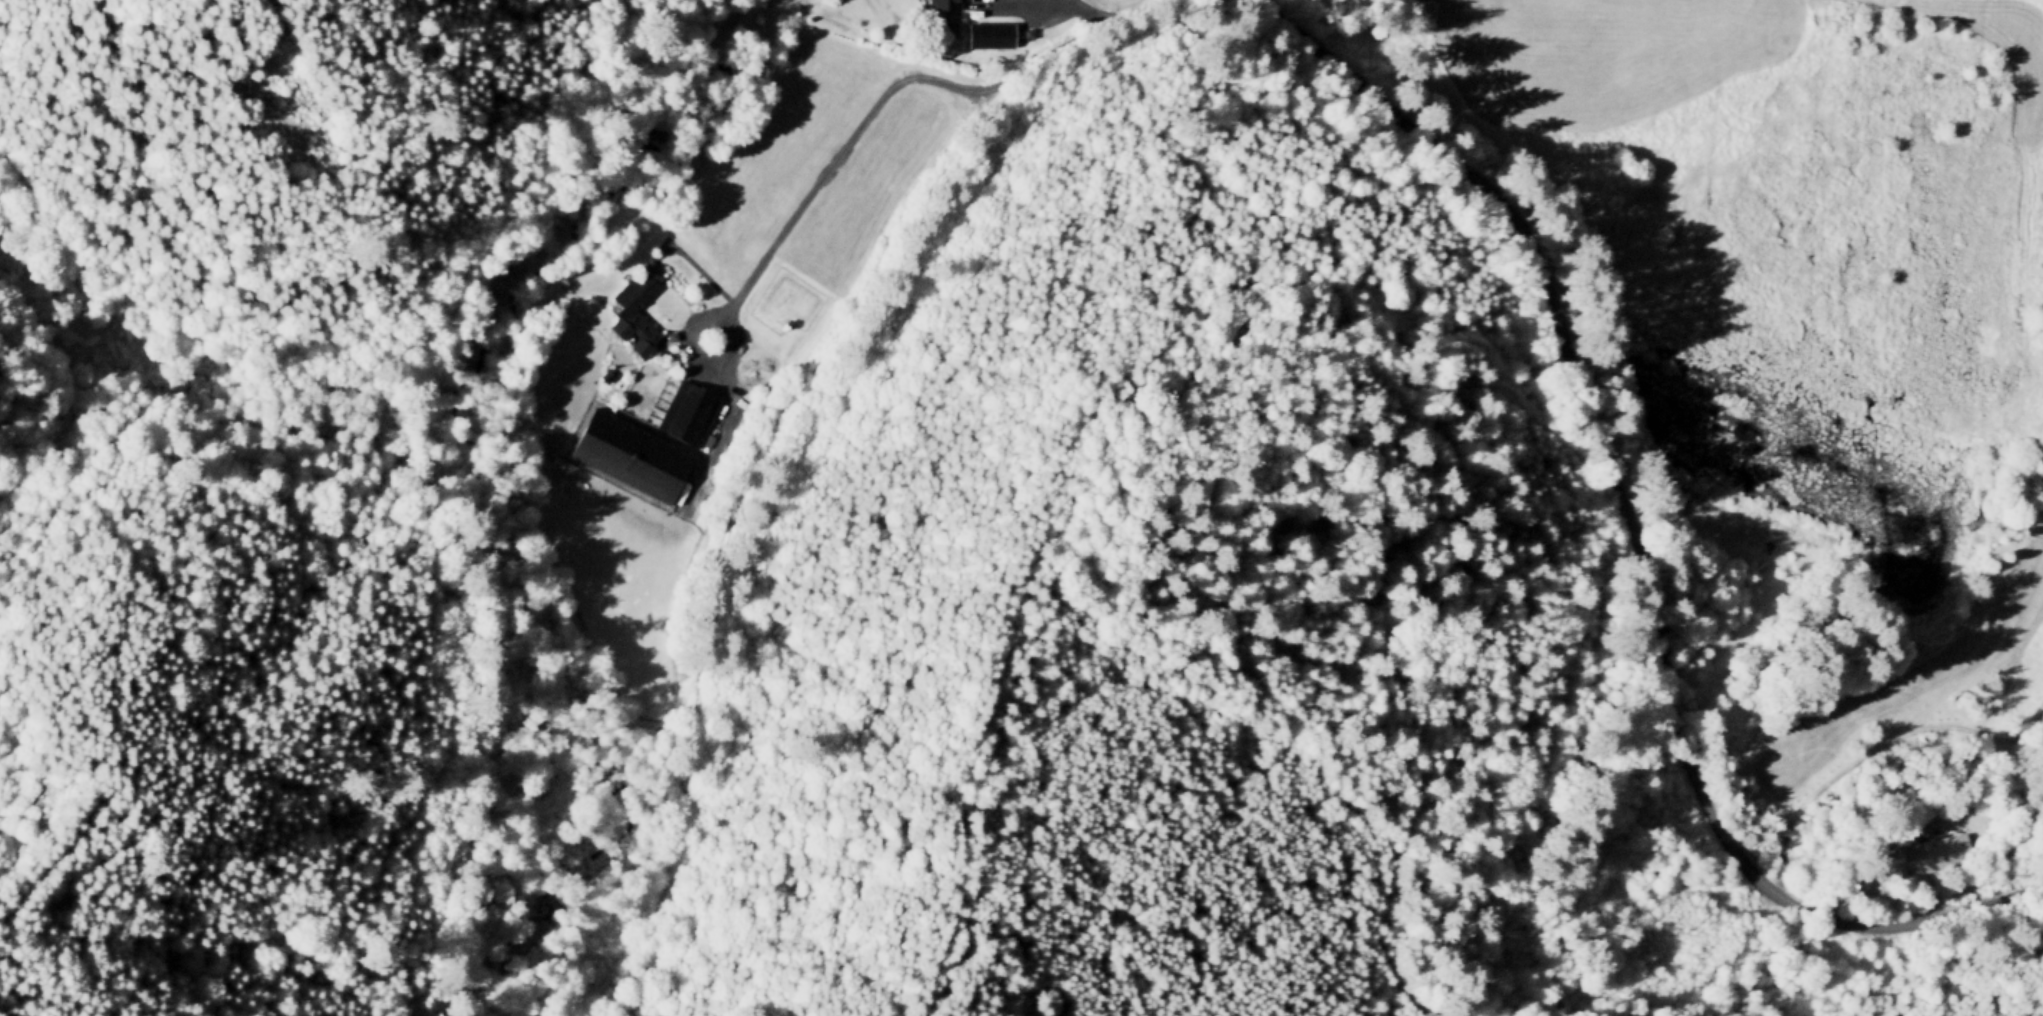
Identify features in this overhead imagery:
building: (939, 2)
road: (1086, 12)
road: (1036, 19)
building: (991, 31)
road: (794, 210)
building: (632, 329)
building: (603, 373)
building: (685, 409)
road: (772, 436)
building: (626, 452)
road: (1631, 536)
road: (1971, 654)
road: (1875, 745)
road: (67, 809)
building: (1922, 854)
road: (1833, 970)

